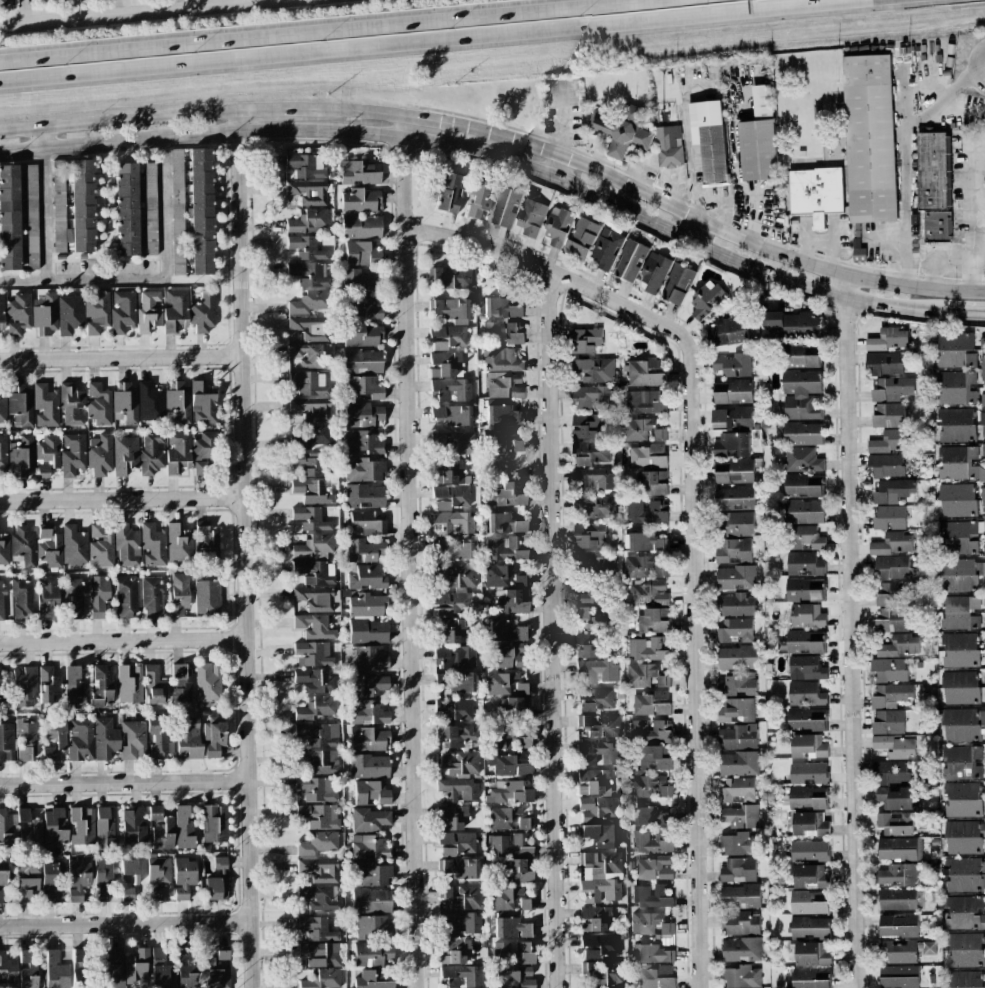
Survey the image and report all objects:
building: (1, 2)
road: (143, 13)
road: (302, 29)
road: (450, 41)
railway: (492, 63)
road: (969, 76)
road: (929, 108)
road: (271, 110)
road: (380, 117)
road: (118, 121)
road: (902, 134)
road: (223, 137)
building: (758, 138)
building: (869, 138)
road: (46, 139)
building: (709, 139)
building: (668, 146)
building: (306, 166)
road: (552, 166)
building: (931, 170)
building: (358, 173)
road: (691, 174)
building: (308, 192)
building: (816, 192)
building: (449, 193)
road: (975, 194)
building: (479, 198)
building: (360, 201)
building: (58, 205)
building: (81, 206)
building: (506, 207)
building: (150, 209)
building: (125, 210)
building: (177, 211)
building: (201, 211)
road: (47, 214)
building: (531, 214)
building: (30, 215)
building: (9, 217)
building: (308, 221)
building: (558, 225)
building: (937, 226)
building: (361, 227)
road: (713, 230)
building: (585, 231)
road: (906, 239)
road: (880, 240)
road: (690, 243)
building: (305, 248)
building: (607, 248)
building: (576, 249)
building: (362, 254)
building: (859, 254)
road: (954, 258)
building: (630, 260)
building: (653, 273)
building: (309, 274)
road: (932, 274)
road: (971, 275)
road: (149, 277)
building: (450, 277)
road: (909, 277)
building: (361, 280)
building: (677, 283)
building: (704, 300)
building: (308, 302)
building: (365, 308)
building: (501, 308)
building: (449, 310)
building: (123, 311)
building: (174, 311)
building: (2, 312)
building: (96, 312)
building: (203, 312)
road: (963, 312)
building: (17, 314)
building: (44, 314)
building: (69, 314)
building: (146, 314)
building: (792, 323)
building: (310, 328)
building: (727, 331)
building: (503, 333)
building: (363, 335)
building: (447, 337)
building: (888, 339)
building: (585, 340)
building: (982, 343)
building: (955, 349)
road: (121, 356)
building: (310, 356)
building: (801, 356)
building: (503, 360)
building: (362, 362)
building: (883, 362)
building: (734, 364)
building: (445, 365)
building: (982, 368)
building: (594, 369)
building: (645, 372)
building: (309, 383)
building: (504, 385)
building: (955, 387)
building: (364, 388)
building: (892, 389)
building: (450, 390)
building: (733, 391)
building: (801, 394)
building: (592, 397)
building: (982, 399)
building: (643, 401)
building: (126, 402)
building: (150, 402)
building: (179, 402)
building: (21, 403)
building: (71, 403)
building: (203, 403)
building: (98, 404)
building: (47, 406)
building: (3, 408)
building: (312, 409)
building: (364, 415)
building: (452, 415)
building: (502, 415)
building: (888, 415)
building: (732, 418)
building: (982, 424)
building: (586, 425)
building: (955, 425)
building: (642, 429)
building: (802, 433)
building: (310, 437)
building: (890, 441)
building: (362, 443)
building: (732, 443)
building: (983, 450)
building: (177, 452)
building: (205, 452)
building: (592, 452)
building: (3, 453)
building: (125, 453)
building: (20, 454)
building: (46, 454)
building: (100, 454)
building: (151, 454)
building: (73, 455)
building: (646, 456)
building: (803, 459)
building: (309, 463)
building: (959, 463)
building: (885, 465)
building: (364, 470)
building: (734, 471)
building: (450, 473)
building: (594, 478)
building: (655, 482)
building: (802, 485)
building: (893, 490)
building: (311, 491)
building: (507, 495)
building: (364, 496)
building: (451, 497)
building: (734, 497)
road: (123, 498)
building: (957, 499)
building: (983, 499)
building: (596, 505)
road: (693, 511)
building: (803, 511)
building: (645, 512)
building: (889, 517)
building: (310, 519)
building: (366, 524)
building: (453, 524)
building: (504, 524)
building: (738, 524)
building: (958, 534)
building: (589, 535)
building: (803, 537)
building: (644, 541)
building: (892, 543)
building: (101, 544)
building: (127, 544)
building: (154, 545)
building: (179, 545)
building: (207, 546)
building: (24, 547)
building: (74, 547)
building: (314, 547)
road: (246, 548)
building: (48, 549)
building: (456, 549)
building: (505, 549)
building: (983, 549)
building: (4, 550)
building: (732, 550)
building: (364, 551)
road: (411, 553)
building: (598, 561)
building: (804, 563)
building: (644, 567)
building: (891, 567)
building: (315, 572)
building: (961, 574)
building: (502, 576)
building: (455, 577)
building: (735, 577)
building: (366, 578)
building: (587, 589)
building: (804, 589)
building: (178, 592)
building: (649, 593)
building: (47, 594)
building: (889, 594)
building: (152, 596)
building: (98, 597)
building: (126, 597)
building: (207, 597)
building: (73, 598)
building: (2, 599)
building: (21, 599)
building: (315, 599)
building: (984, 599)
building: (511, 602)
building: (452, 603)
building: (735, 604)
building: (959, 612)
building: (597, 616)
building: (806, 616)
building: (367, 619)
building: (891, 619)
building: (654, 620)
building: (984, 623)
building: (314, 627)
road: (553, 629)
building: (735, 630)
building: (506, 631)
building: (449, 632)
road: (850, 632)
building: (805, 641)
road: (123, 642)
building: (899, 645)
building: (589, 646)
building: (647, 648)
building: (959, 649)
building: (984, 649)
building: (313, 654)
building: (510, 656)
building: (736, 657)
building: (349, 658)
building: (455, 658)
building: (370, 659)
building: (806, 668)
building: (888, 669)
building: (597, 670)
building: (640, 674)
building: (312, 680)
building: (454, 681)
building: (208, 682)
building: (47, 684)
building: (76, 684)
building: (129, 684)
building: (153, 684)
building: (504, 684)
building: (737, 684)
building: (367, 685)
building: (101, 687)
building: (181, 687)
building: (960, 687)
building: (23, 688)
building: (984, 688)
building: (806, 693)
building: (3, 697)
building: (595, 698)
building: (650, 703)
building: (513, 705)
building: (317, 708)
building: (453, 709)
building: (735, 709)
building: (367, 713)
building: (806, 719)
building: (962, 724)
building: (600, 725)
building: (649, 730)
building: (318, 734)
building: (188, 736)
building: (213, 736)
building: (455, 736)
building: (737, 736)
building: (51, 737)
building: (159, 737)
building: (104, 738)
building: (368, 739)
building: (502, 739)
building: (26, 740)
building: (80, 740)
building: (133, 740)
building: (6, 742)
building: (523, 742)
building: (809, 745)
building: (895, 745)
building: (597, 753)
building: (653, 758)
building: (317, 762)
building: (959, 762)
building: (460, 763)
building: (738, 763)
building: (509, 764)
building: (369, 766)
building: (808, 772)
building: (890, 772)
building: (592, 781)
road: (125, 782)
building: (646, 787)
building: (738, 788)
building: (316, 789)
building: (457, 790)
building: (509, 792)
building: (371, 793)
building: (807, 797)
building: (893, 797)
building: (962, 799)
building: (597, 808)
building: (155, 813)
building: (23, 815)
building: (317, 816)
building: (650, 816)
building: (739, 816)
building: (453, 817)
building: (509, 818)
building: (370, 820)
building: (894, 823)
building: (214, 824)
building: (810, 824)
building: (54, 826)
building: (81, 826)
building: (133, 826)
building: (4, 828)
building: (183, 828)
building: (104, 830)
building: (35, 831)
building: (163, 834)
building: (600, 835)
building: (964, 837)
building: (650, 841)
building: (456, 843)
building: (738, 843)
building: (318, 844)
building: (508, 845)
building: (369, 847)
building: (899, 848)
building: (809, 850)
building: (220, 863)
building: (27, 867)
building: (653, 867)
building: (457, 868)
building: (738, 869)
building: (319, 870)
building: (129, 871)
building: (517, 872)
building: (49, 874)
building: (157, 874)
building: (370, 874)
building: (897, 874)
building: (963, 874)
building: (600, 876)
building: (811, 876)
building: (102, 878)
building: (183, 878)
building: (78, 879)
building: (2, 882)
building: (215, 888)
building: (25, 889)
building: (127, 894)
building: (651, 895)
building: (48, 896)
building: (740, 896)
building: (320, 897)
building: (461, 897)
building: (508, 899)
building: (897, 899)
building: (371, 901)
building: (809, 902)
building: (964, 912)
building: (597, 918)
building: (740, 922)
building: (648, 923)
road: (126, 924)
building: (461, 924)
building: (898, 925)
building: (810, 927)
building: (373, 928)
building: (511, 928)
building: (316, 929)
building: (600, 946)
building: (741, 949)
building: (964, 949)
building: (453, 951)
building: (899, 952)
building: (524, 953)
building: (652, 953)
building: (810, 953)
building: (114, 954)
building: (320, 954)
building: (371, 954)
building: (79, 965)
building: (186, 967)
building: (7, 968)
building: (136, 968)
building: (27, 970)
building: (55, 970)
building: (161, 970)
building: (218, 970)
building: (603, 972)
building: (460, 976)
building: (741, 976)
building: (898, 976)
building: (110, 977)
building: (657, 977)
building: (515, 978)
building: (810, 978)
building: (965, 979)
building: (322, 980)
building: (370, 981)

